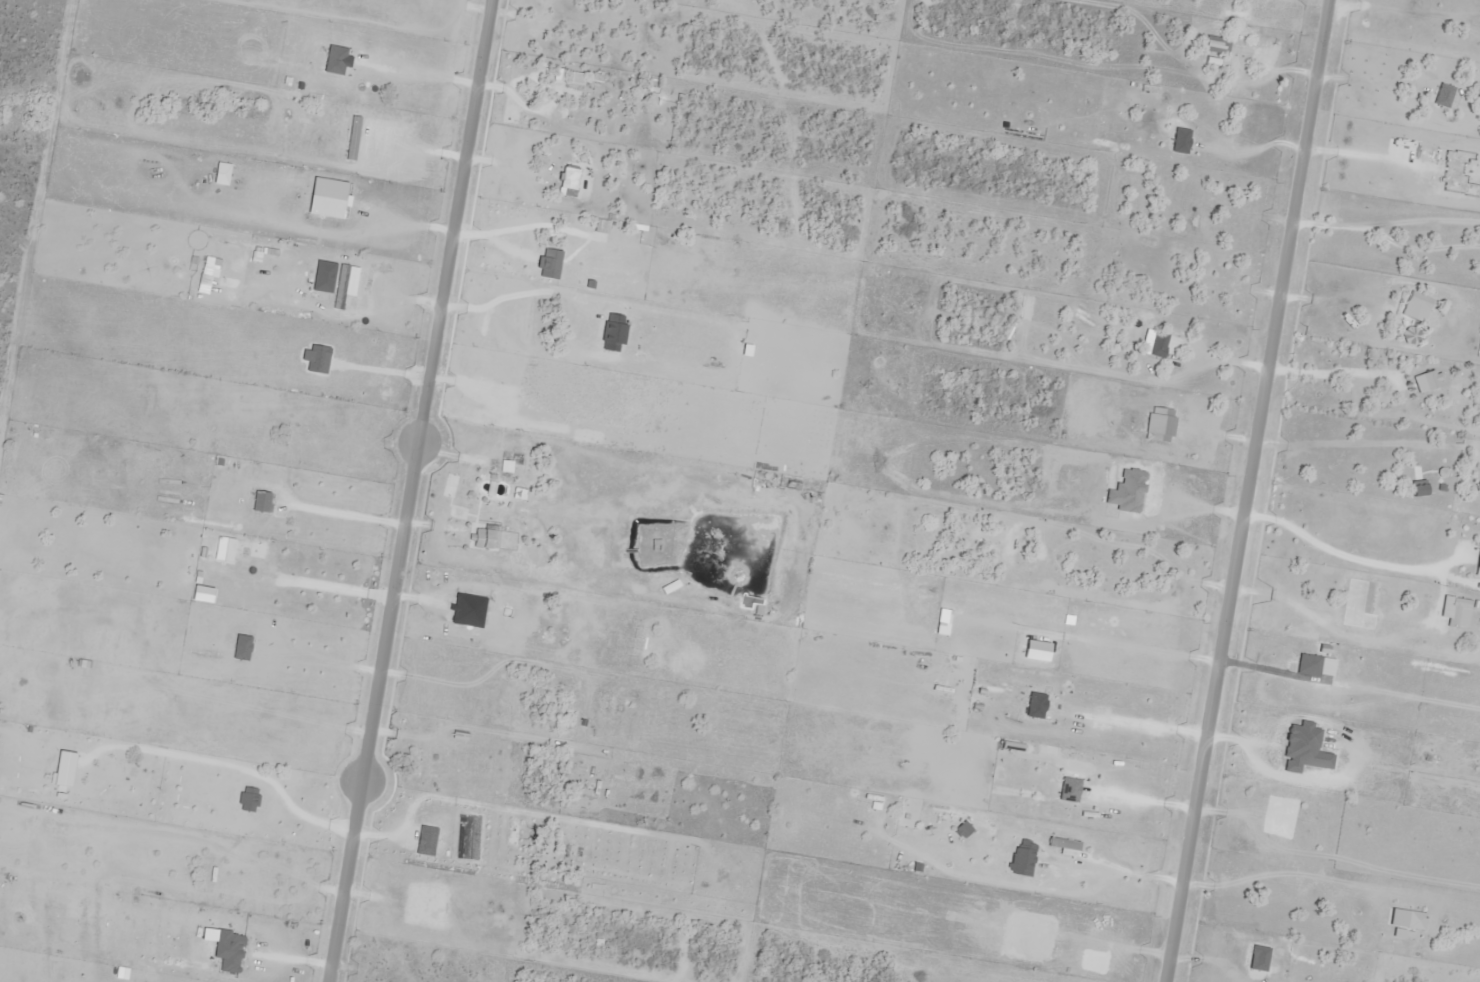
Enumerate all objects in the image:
road: (409, 490)
road: (1246, 491)

